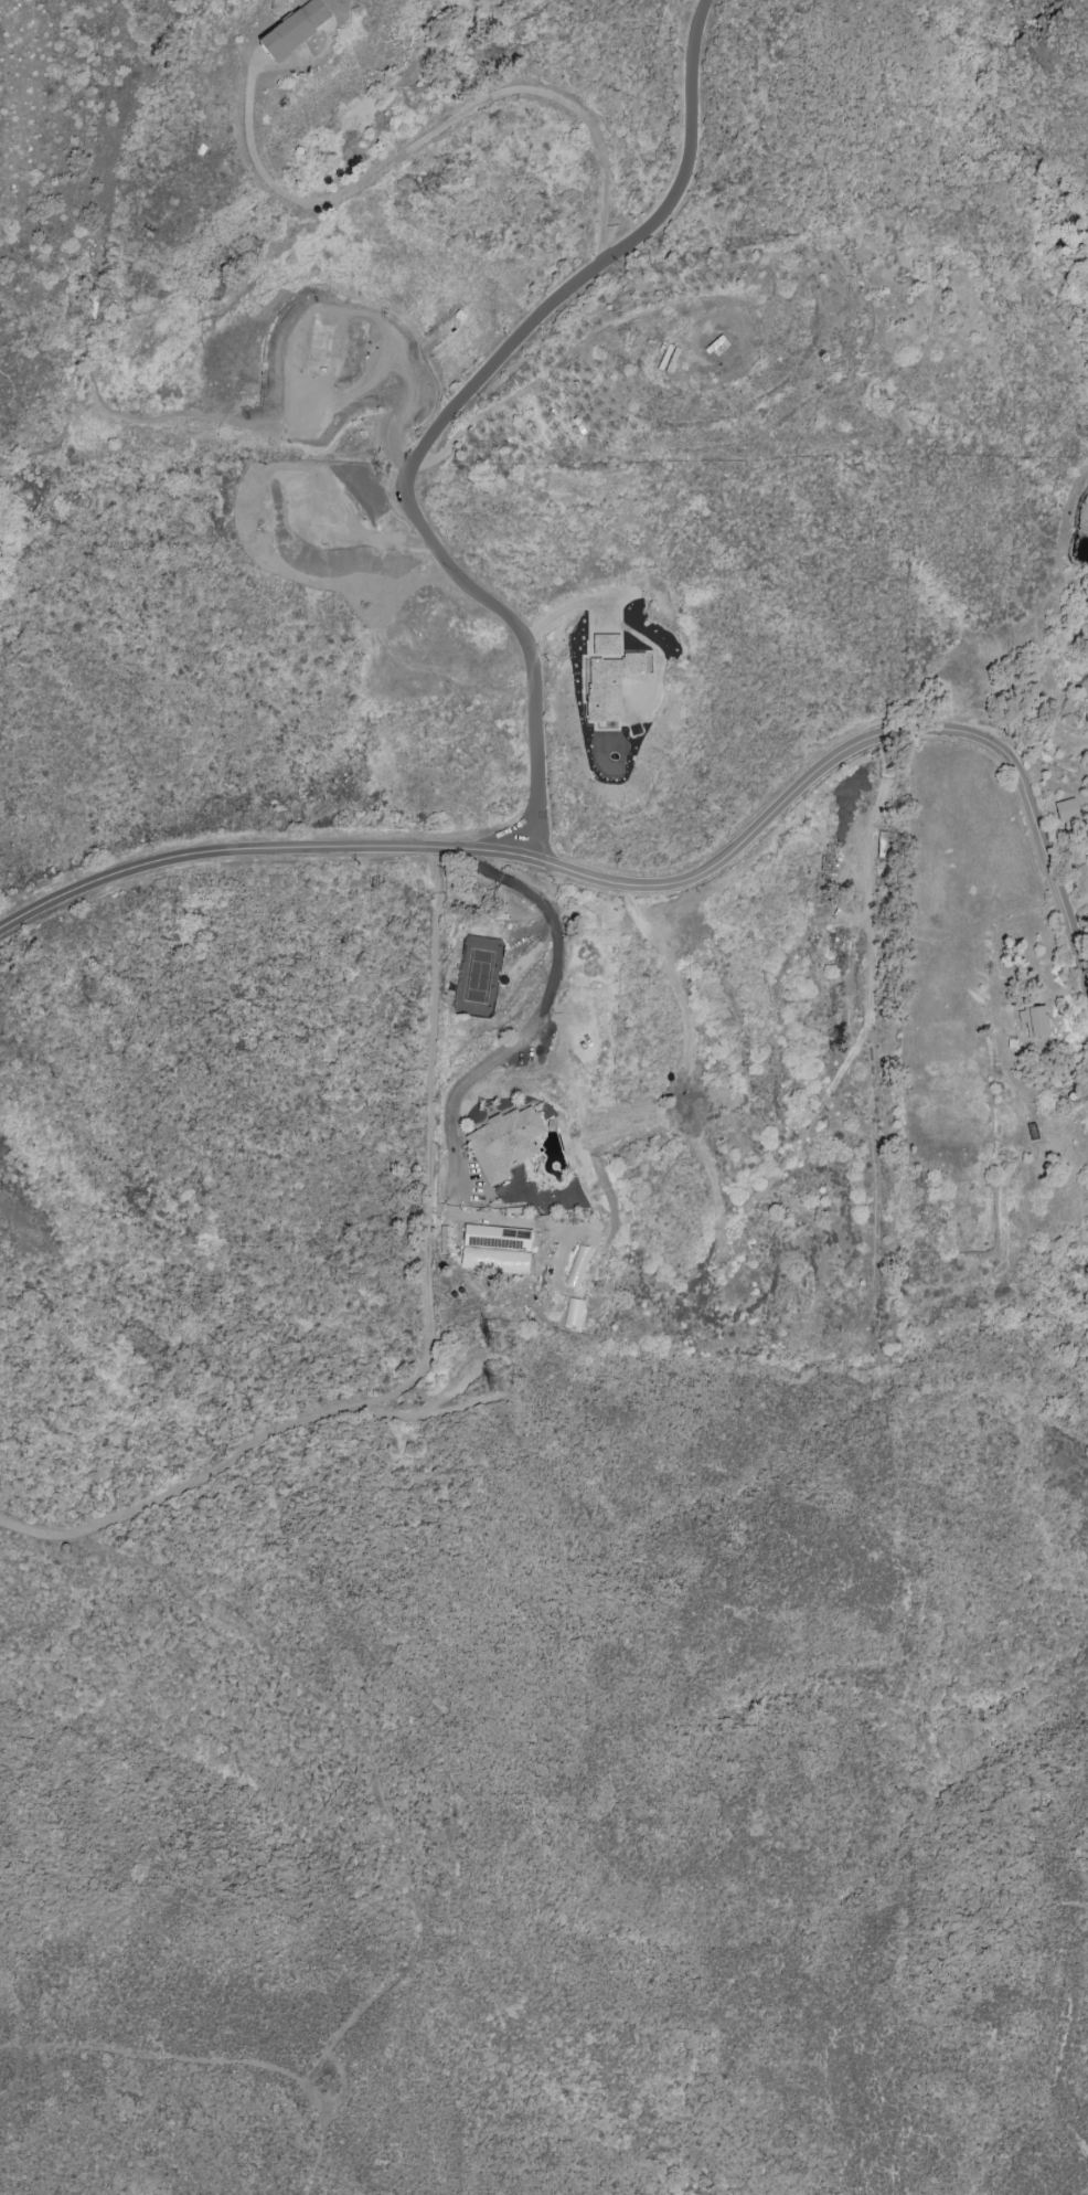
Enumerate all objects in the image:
building: (296, 29)
road: (433, 134)
road: (360, 316)
building: (318, 348)
road: (449, 410)
road: (568, 607)
building: (606, 644)
building: (612, 682)
building: (1067, 812)
road: (638, 886)
road: (540, 1012)
building: (1034, 1020)
building: (504, 1143)
building: (495, 1249)
building: (577, 1266)
building: (573, 1312)
power tower: (499, 1342)
road: (429, 1343)
power tower: (501, 1383)
road: (361, 1739)
road: (153, 2054)
road: (344, 2082)

